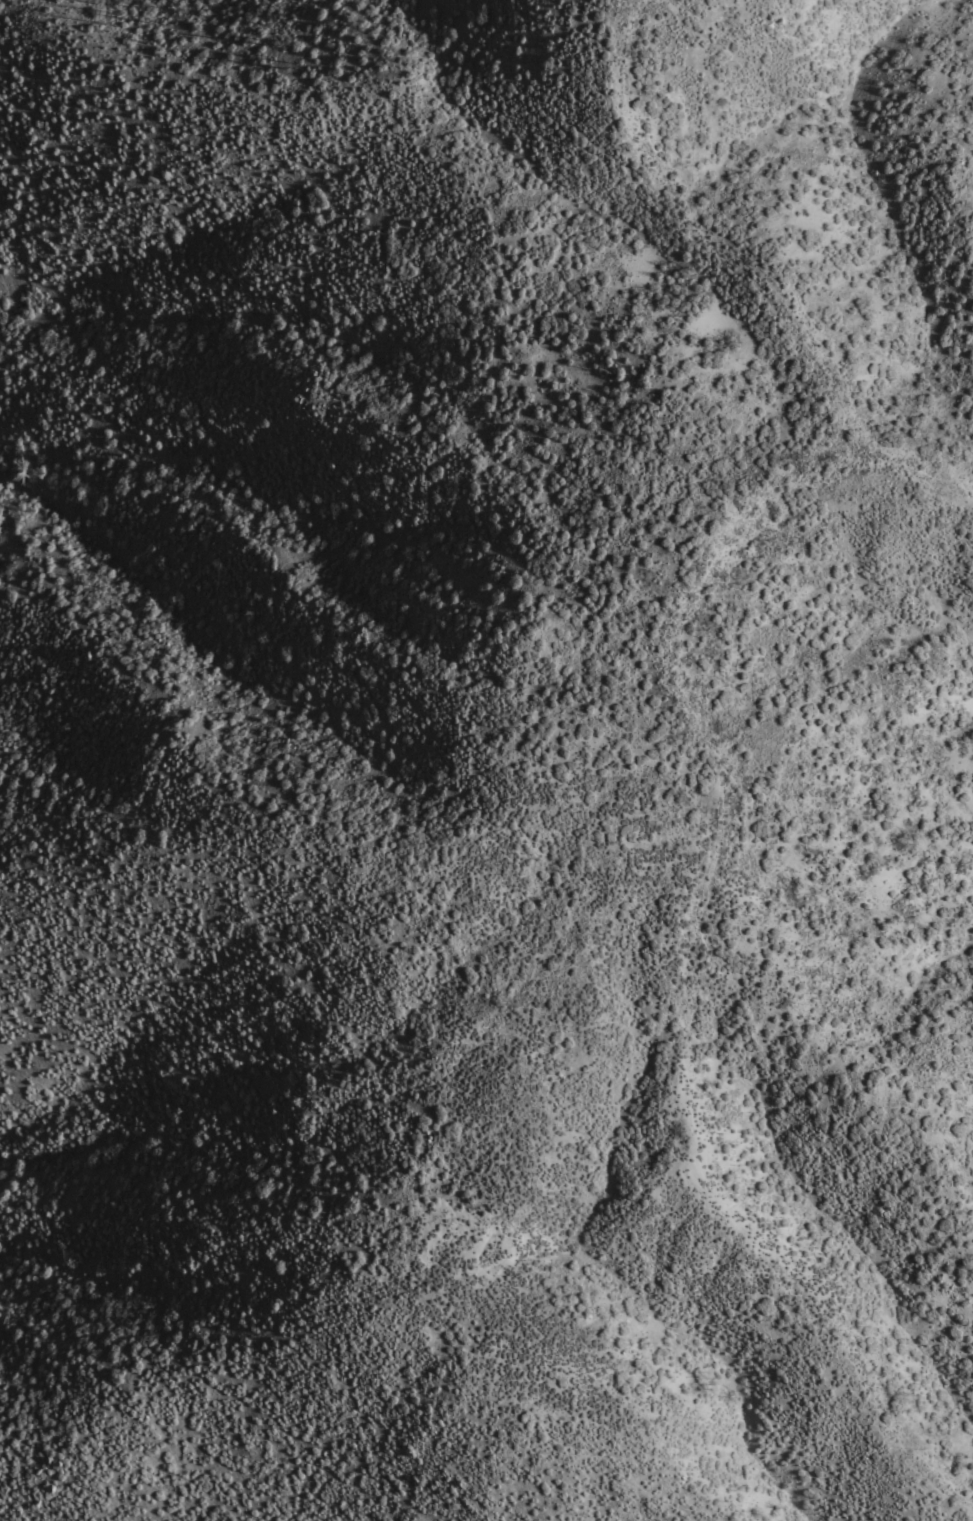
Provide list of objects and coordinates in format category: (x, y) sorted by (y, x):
road: (680, 731)

